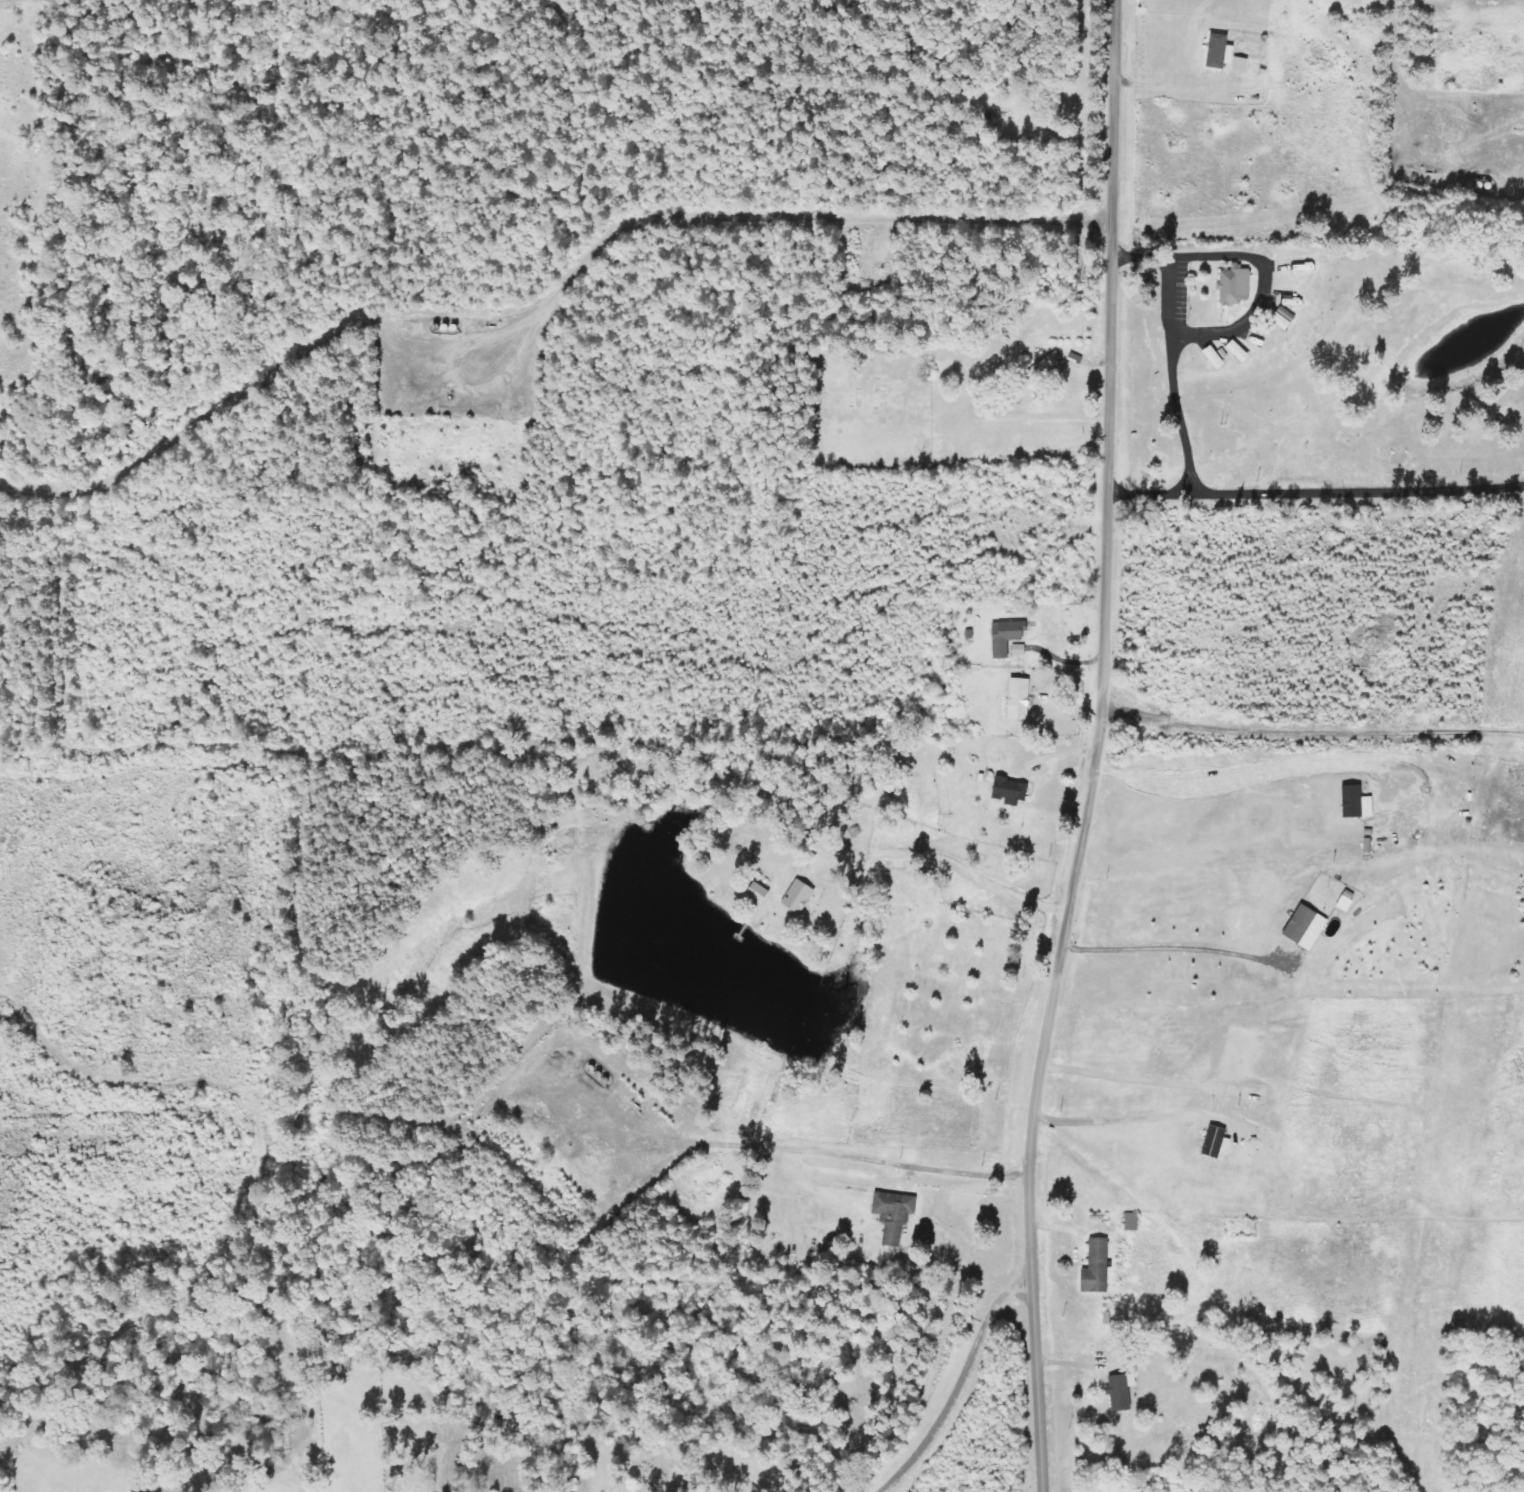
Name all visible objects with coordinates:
building: (1223, 51)
building: (1243, 64)
building: (1236, 286)
road: (1263, 292)
road: (1171, 344)
building: (1241, 352)
building: (1217, 358)
road: (1314, 490)
building: (1007, 638)
building: (1020, 650)
building: (1022, 700)
road: (1097, 748)
road: (1275, 769)
building: (1012, 791)
building: (1358, 803)
road: (974, 875)
building: (761, 893)
building: (801, 897)
building: (1348, 901)
building: (1308, 928)
road: (1170, 946)
road: (1114, 1119)
building: (1218, 1142)
building: (892, 1217)
building: (1133, 1223)
building: (1098, 1269)
building: (1123, 1391)

